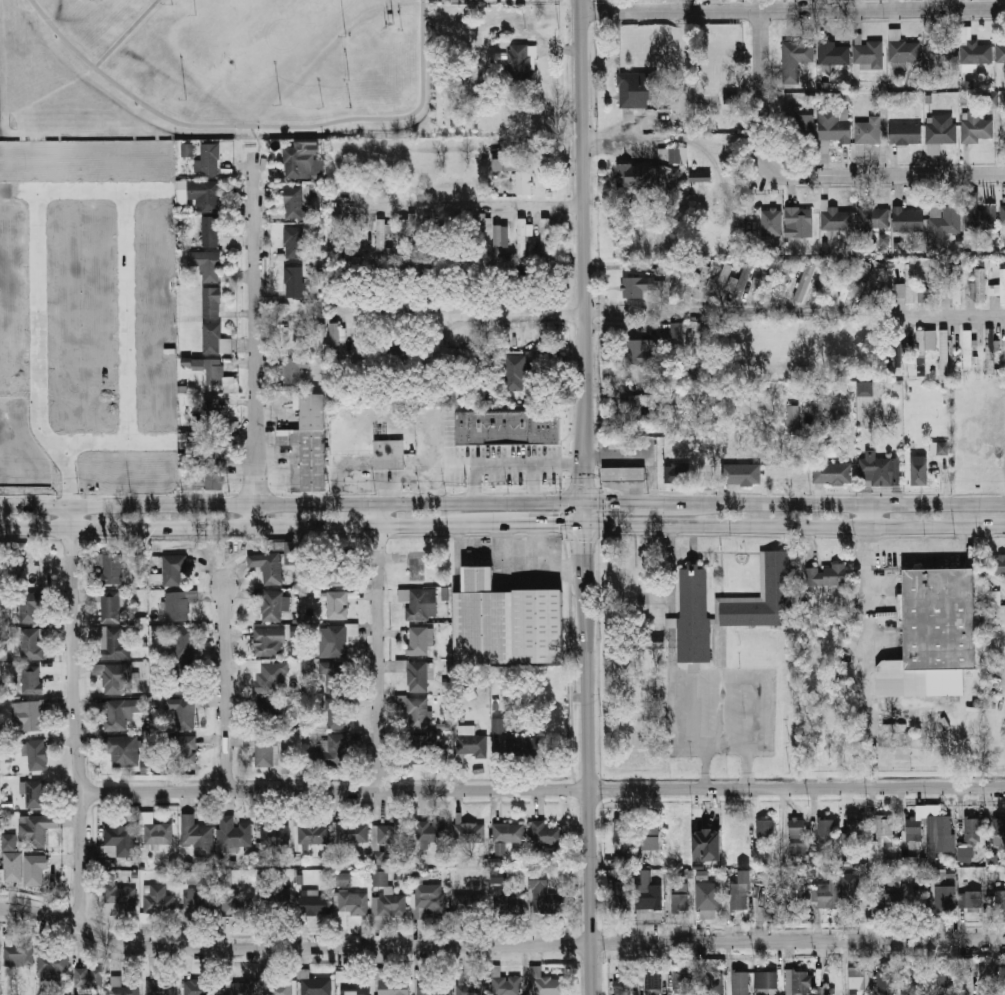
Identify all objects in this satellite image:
park: (87, 1)
road: (791, 7)
road: (126, 33)
park: (267, 34)
building: (973, 49)
building: (903, 52)
building: (1001, 53)
building: (833, 54)
building: (868, 54)
building: (938, 55)
building: (796, 58)
building: (522, 64)
park: (218, 68)
building: (636, 89)
road: (761, 92)
building: (732, 98)
road: (257, 126)
building: (803, 127)
building: (835, 127)
building: (976, 128)
building: (941, 129)
building: (868, 130)
building: (905, 133)
road: (256, 140)
building: (186, 149)
building: (933, 149)
building: (679, 155)
building: (208, 159)
building: (302, 163)
building: (503, 164)
road: (889, 174)
building: (638, 176)
building: (702, 177)
building: (524, 183)
building: (317, 190)
building: (204, 194)
building: (293, 202)
road: (466, 207)
building: (873, 217)
building: (981, 217)
building: (835, 218)
building: (944, 219)
building: (908, 220)
building: (1003, 220)
building: (799, 221)
building: (773, 222)
road: (581, 225)
building: (210, 232)
building: (477, 233)
building: (381, 234)
building: (404, 234)
building: (450, 234)
building: (427, 237)
building: (336, 238)
building: (357, 238)
building: (522, 238)
building: (545, 238)
building: (883, 239)
building: (501, 241)
building: (293, 242)
building: (205, 265)
building: (720, 278)
building: (784, 279)
building: (805, 279)
building: (825, 279)
building: (700, 280)
building: (763, 281)
building: (869, 281)
building: (294, 282)
building: (847, 282)
building: (464, 283)
building: (926, 284)
building: (956, 284)
building: (905, 285)
building: (978, 285)
building: (637, 286)
building: (999, 286)
building: (737, 288)
building: (212, 302)
road: (602, 312)
road: (948, 316)
building: (676, 330)
building: (215, 339)
building: (335, 340)
road: (255, 341)
building: (923, 349)
building: (967, 349)
building: (643, 352)
building: (944, 352)
building: (990, 352)
building: (896, 353)
building: (291, 370)
building: (214, 373)
building: (513, 373)
building: (228, 384)
building: (865, 389)
building: (456, 394)
building: (638, 403)
building: (214, 412)
building: (792, 417)
building: (509, 427)
building: (309, 442)
building: (624, 443)
building: (207, 449)
building: (389, 455)
road: (510, 464)
building: (877, 468)
building: (919, 471)
building: (832, 473)
building: (624, 474)
building: (673, 474)
building: (741, 474)
road: (584, 475)
building: (213, 478)
road: (531, 482)
traffic signals: (585, 484)
road: (582, 488)
traffic signals: (608, 500)
road: (623, 500)
road: (695, 500)
road: (865, 501)
road: (292, 504)
road: (584, 510)
road: (600, 511)
road: (866, 515)
traffic signals: (559, 522)
road: (519, 523)
road: (794, 526)
road: (227, 527)
road: (502, 536)
traffic signals: (584, 542)
building: (291, 552)
parking lot: (917, 553)
building: (998, 564)
building: (267, 566)
building: (112, 568)
road: (584, 569)
building: (174, 570)
building: (762, 573)
building: (825, 575)
building: (337, 576)
building: (777, 576)
building: (417, 603)
building: (273, 605)
building: (337, 605)
building: (177, 606)
building: (110, 607)
road: (672, 607)
building: (29, 608)
building: (993, 610)
building: (694, 616)
building: (939, 618)
building: (506, 622)
building: (671, 622)
building: (339, 639)
building: (269, 641)
building: (419, 641)
building: (33, 643)
building: (109, 643)
building: (184, 643)
road: (378, 646)
road: (866, 657)
building: (401, 665)
building: (335, 676)
building: (271, 677)
building: (418, 677)
building: (117, 678)
building: (183, 678)
building: (31, 679)
building: (918, 681)
road: (687, 687)
road: (226, 689)
building: (266, 710)
parking lot: (719, 710)
building: (416, 711)
building: (182, 712)
building: (120, 713)
building: (338, 713)
road: (76, 714)
building: (31, 715)
road: (757, 718)
building: (499, 725)
road: (568, 742)
building: (933, 742)
building: (471, 743)
road: (726, 744)
building: (524, 746)
building: (424, 747)
building: (186, 750)
building: (264, 750)
building: (124, 751)
building: (330, 753)
building: (37, 755)
building: (287, 756)
road: (542, 788)
building: (36, 794)
road: (588, 806)
building: (797, 827)
building: (855, 827)
building: (764, 828)
building: (825, 828)
building: (914, 828)
building: (36, 829)
building: (884, 830)
building: (430, 831)
building: (973, 831)
building: (234, 832)
building: (311, 832)
building: (351, 832)
building: (999, 832)
building: (275, 833)
building: (469, 833)
building: (508, 833)
building: (622, 833)
building: (159, 834)
building: (389, 834)
building: (547, 834)
building: (652, 834)
building: (940, 835)
building: (197, 836)
building: (121, 839)
building: (9, 842)
building: (707, 845)
building: (378, 857)
building: (619, 862)
building: (28, 867)
building: (1002, 873)
building: (380, 874)
building: (500, 876)
building: (343, 879)
building: (852, 889)
building: (678, 890)
building: (649, 892)
building: (543, 894)
building: (811, 894)
building: (121, 895)
building: (270, 895)
building: (827, 895)
building: (945, 897)
building: (739, 898)
building: (157, 899)
building: (970, 899)
building: (1000, 899)
building: (428, 901)
building: (508, 901)
building: (708, 901)
building: (196, 902)
building: (313, 903)
building: (619, 903)
building: (890, 903)
building: (470, 904)
building: (235, 905)
building: (349, 907)
building: (387, 908)
road: (499, 943)
building: (19, 954)
building: (51, 966)
building: (967, 976)
building: (918, 977)
building: (88, 978)
building: (859, 978)
building: (682, 980)
building: (766, 980)
building: (654, 981)
building: (886, 981)
building: (944, 981)
building: (740, 983)
building: (801, 983)
building: (274, 984)
building: (547, 984)
building: (712, 984)
building: (351, 985)
building: (316, 986)
building: (394, 986)
building: (506, 986)
building: (122, 987)
building: (160, 987)
building: (198, 987)
building: (238, 987)
building: (473, 987)
building: (432, 988)
building: (623, 989)

